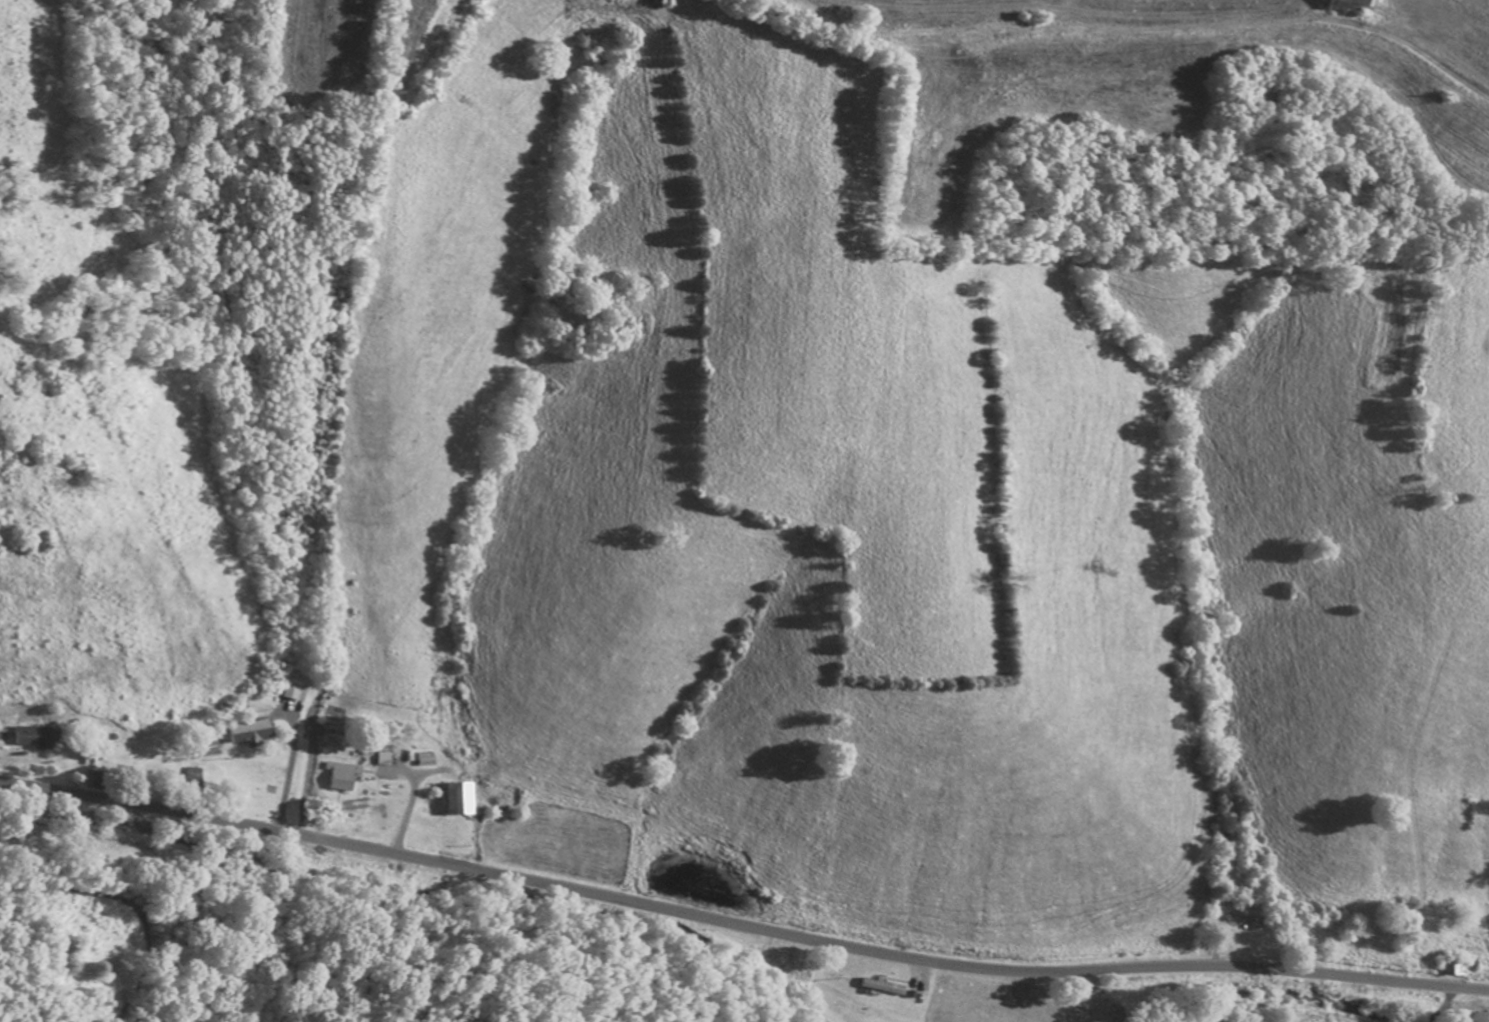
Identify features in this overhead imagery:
building: (1351, 4)
road: (1138, 67)
building: (294, 690)
building: (253, 730)
building: (40, 735)
building: (430, 758)
building: (344, 776)
building: (463, 797)
building: (1247, 920)
road: (740, 924)
building: (1455, 966)
building: (886, 986)
road: (990, 997)
road: (1403, 1009)

